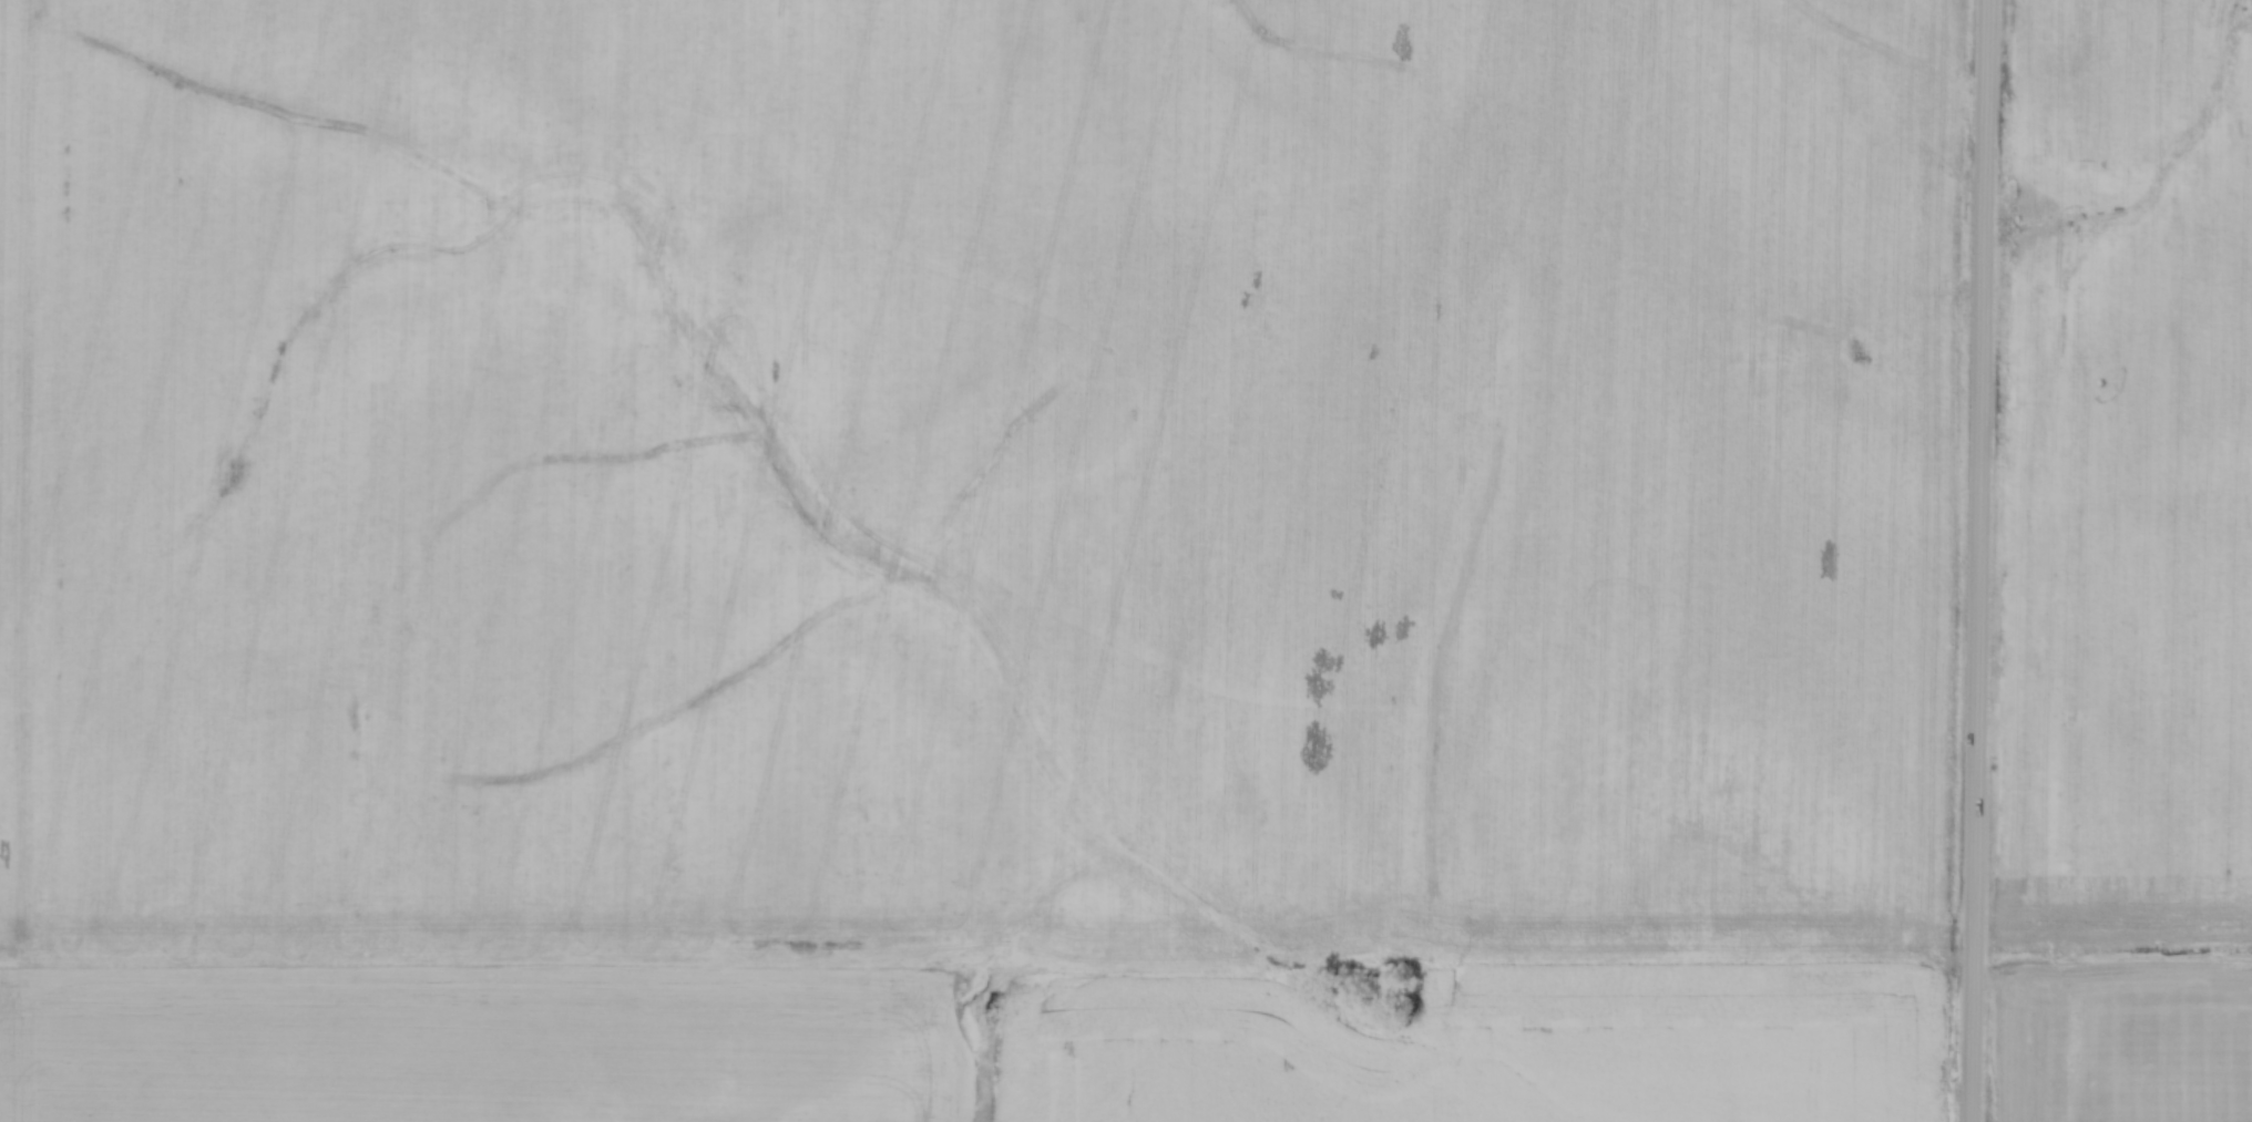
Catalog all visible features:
road: (1977, 560)

